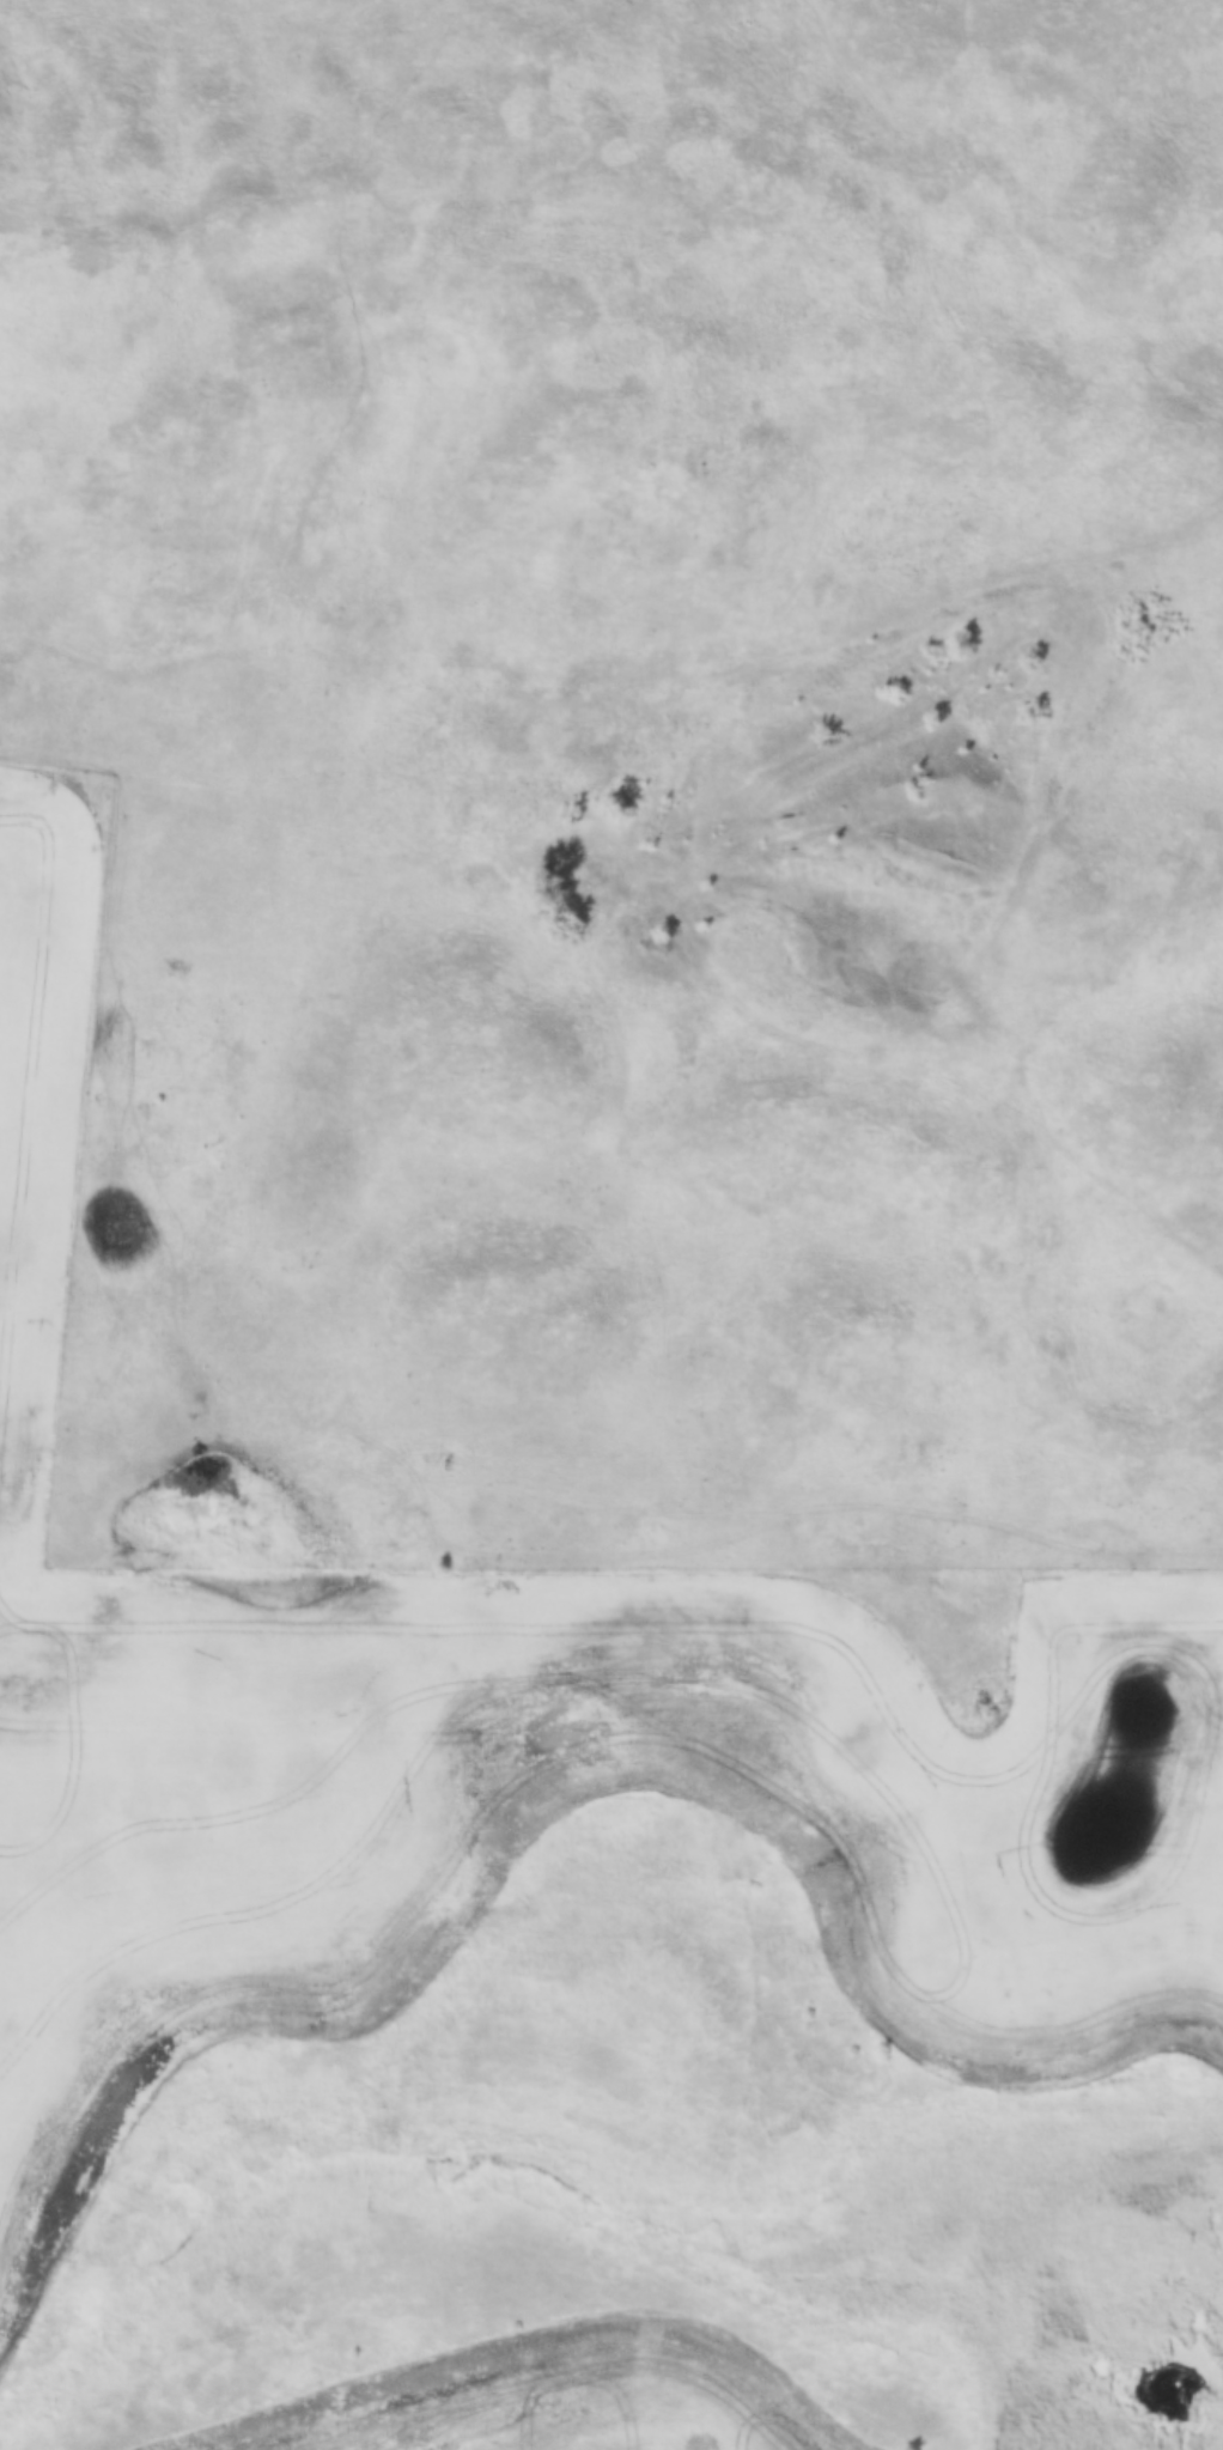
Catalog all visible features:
quarry: (848, 808)
road: (112, 1582)

